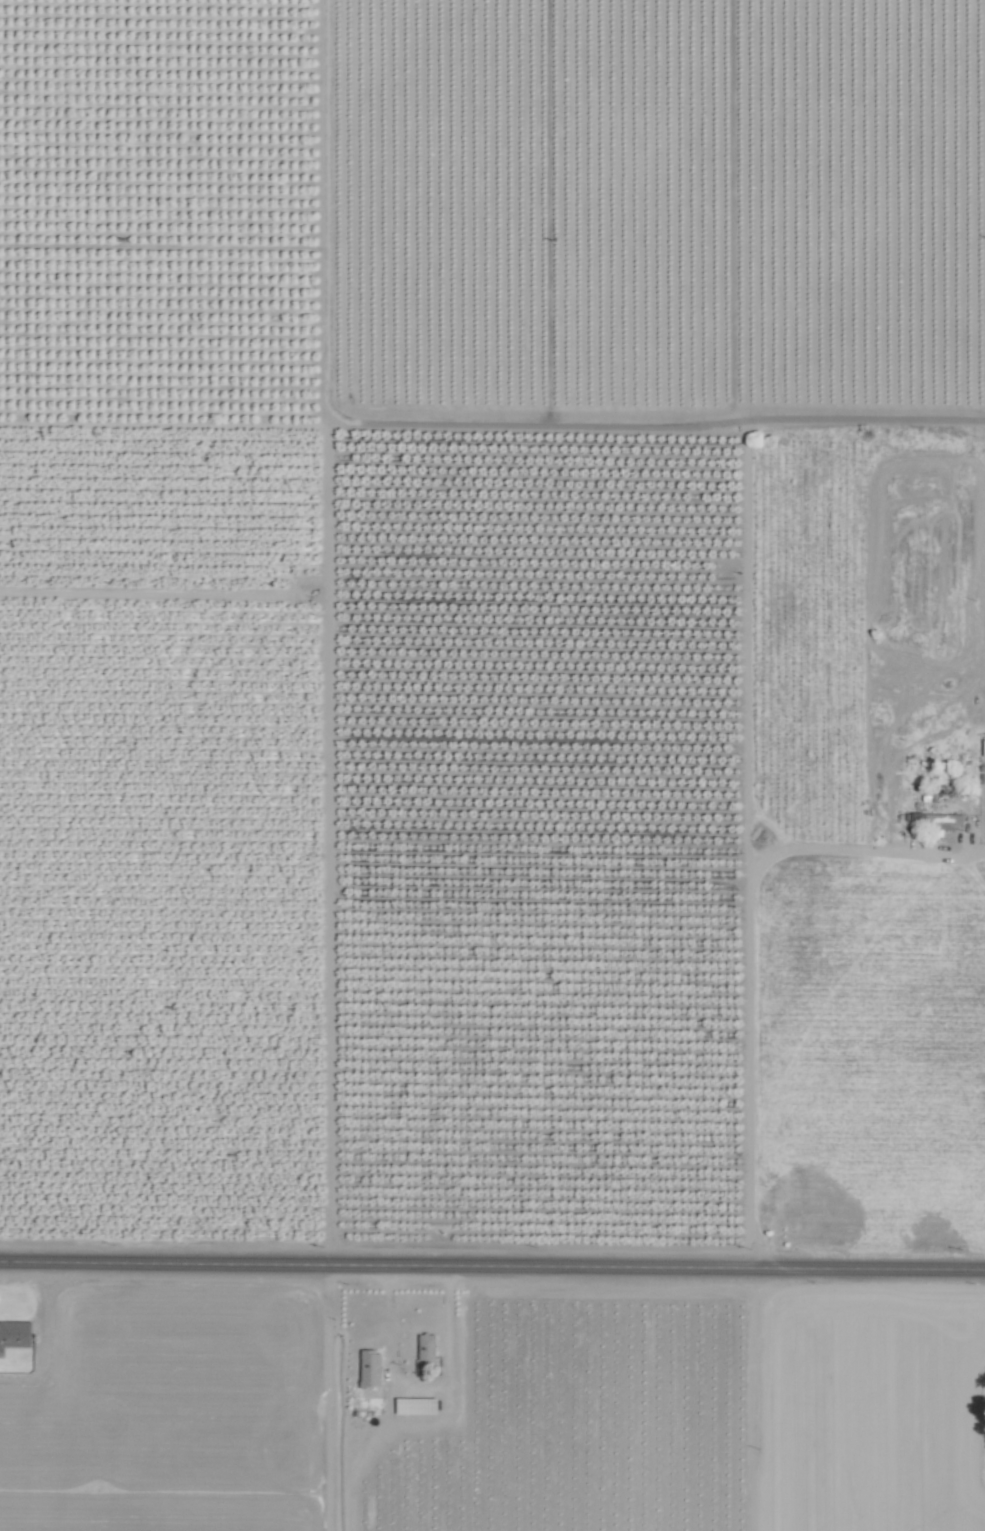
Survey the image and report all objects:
crop: (492, 765)
building: (943, 792)
building: (938, 819)
road: (492, 1266)
building: (13, 1335)
building: (424, 1348)
building: (367, 1368)
road: (421, 1395)
building: (413, 1406)
crop: (546, 1407)

